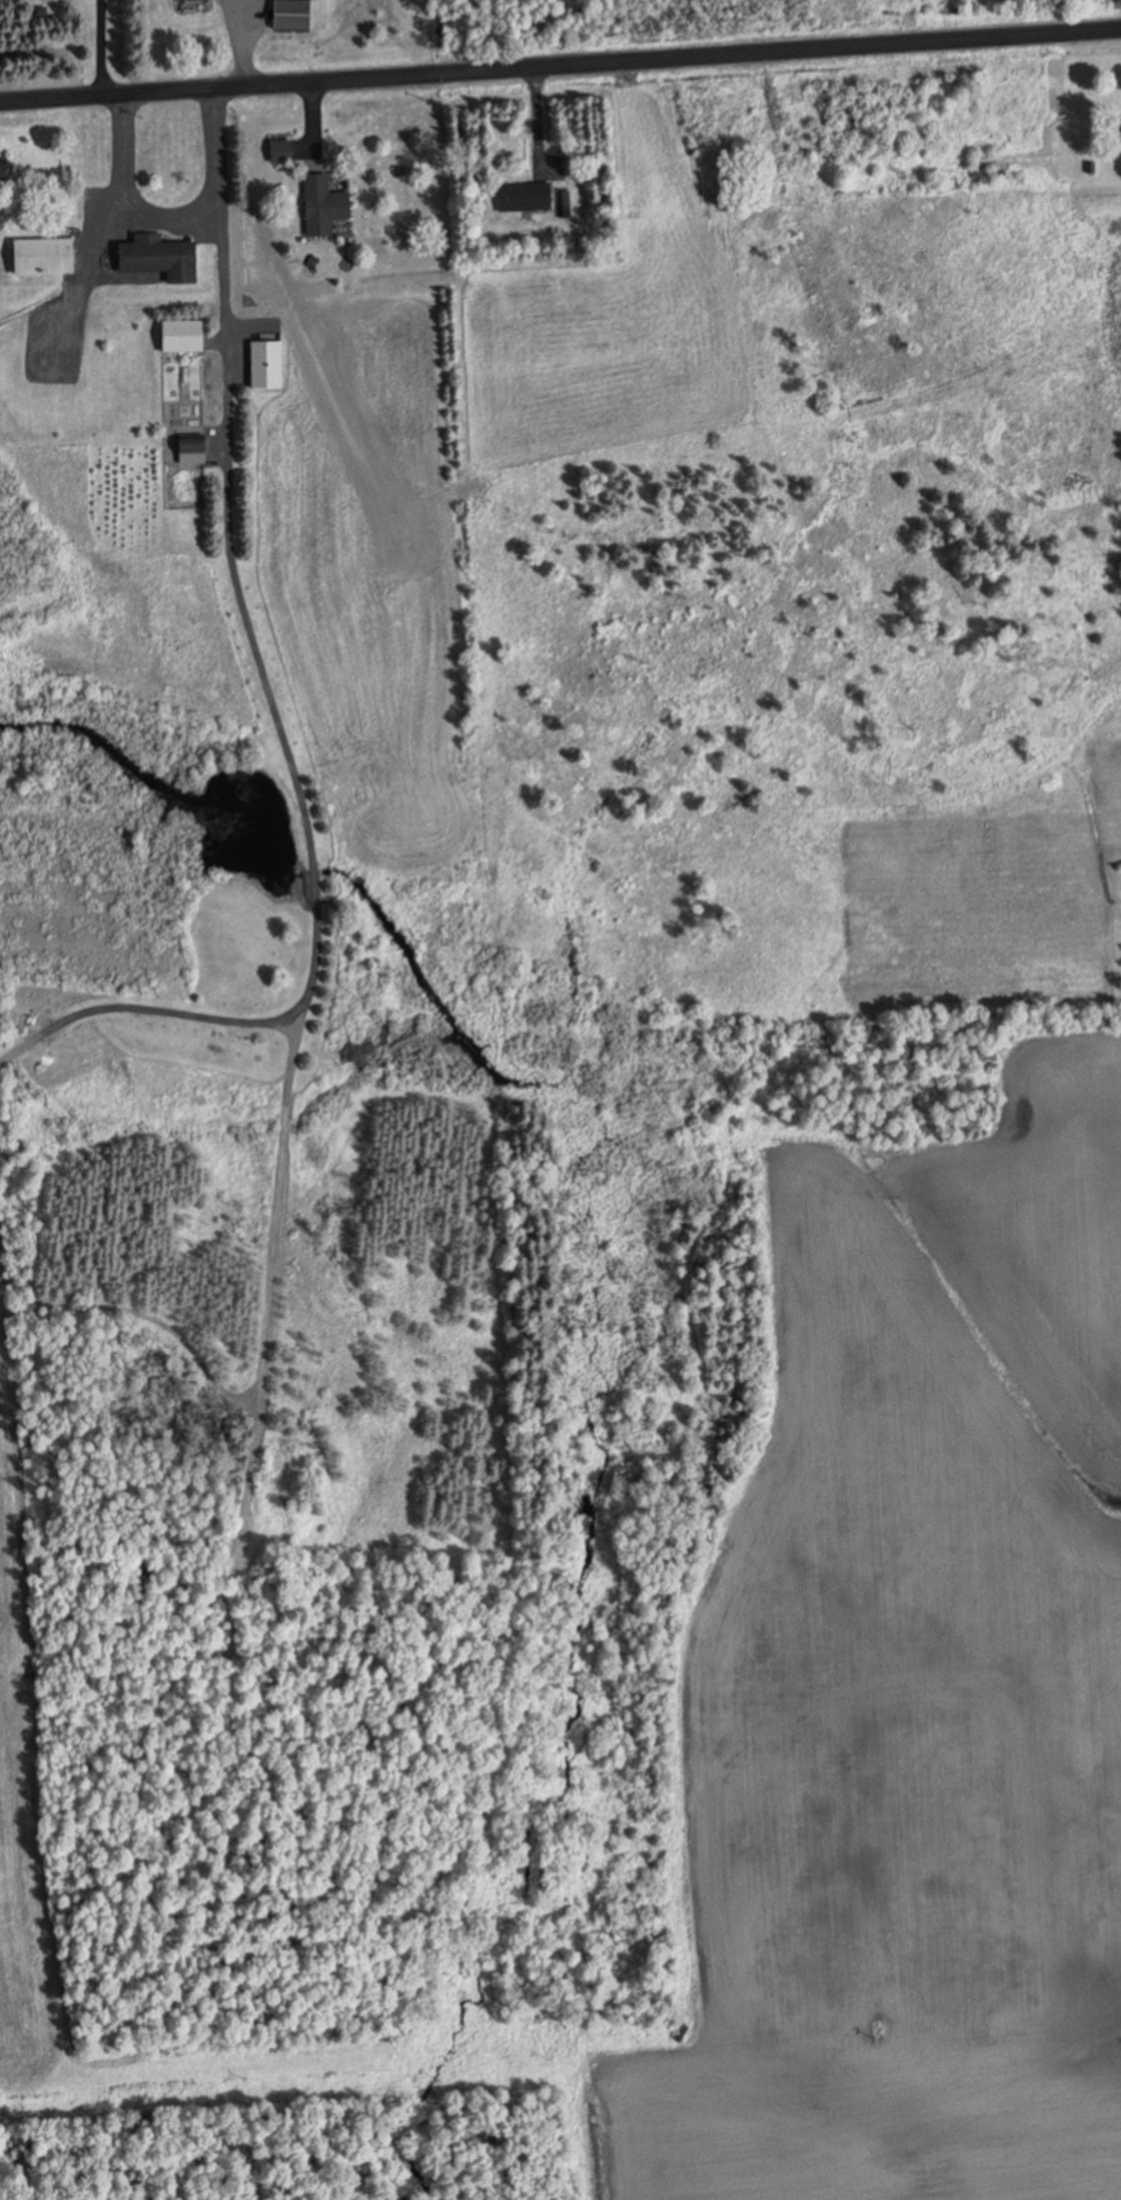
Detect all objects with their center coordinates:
building: (194, 0)
building: (295, 14)
road: (560, 62)
building: (1117, 131)
building: (284, 149)
building: (8, 168)
building: (527, 196)
building: (326, 205)
building: (49, 256)
building: (163, 257)
building: (187, 335)
building: (196, 450)
crop: (909, 1691)
crop: (22, 1826)

